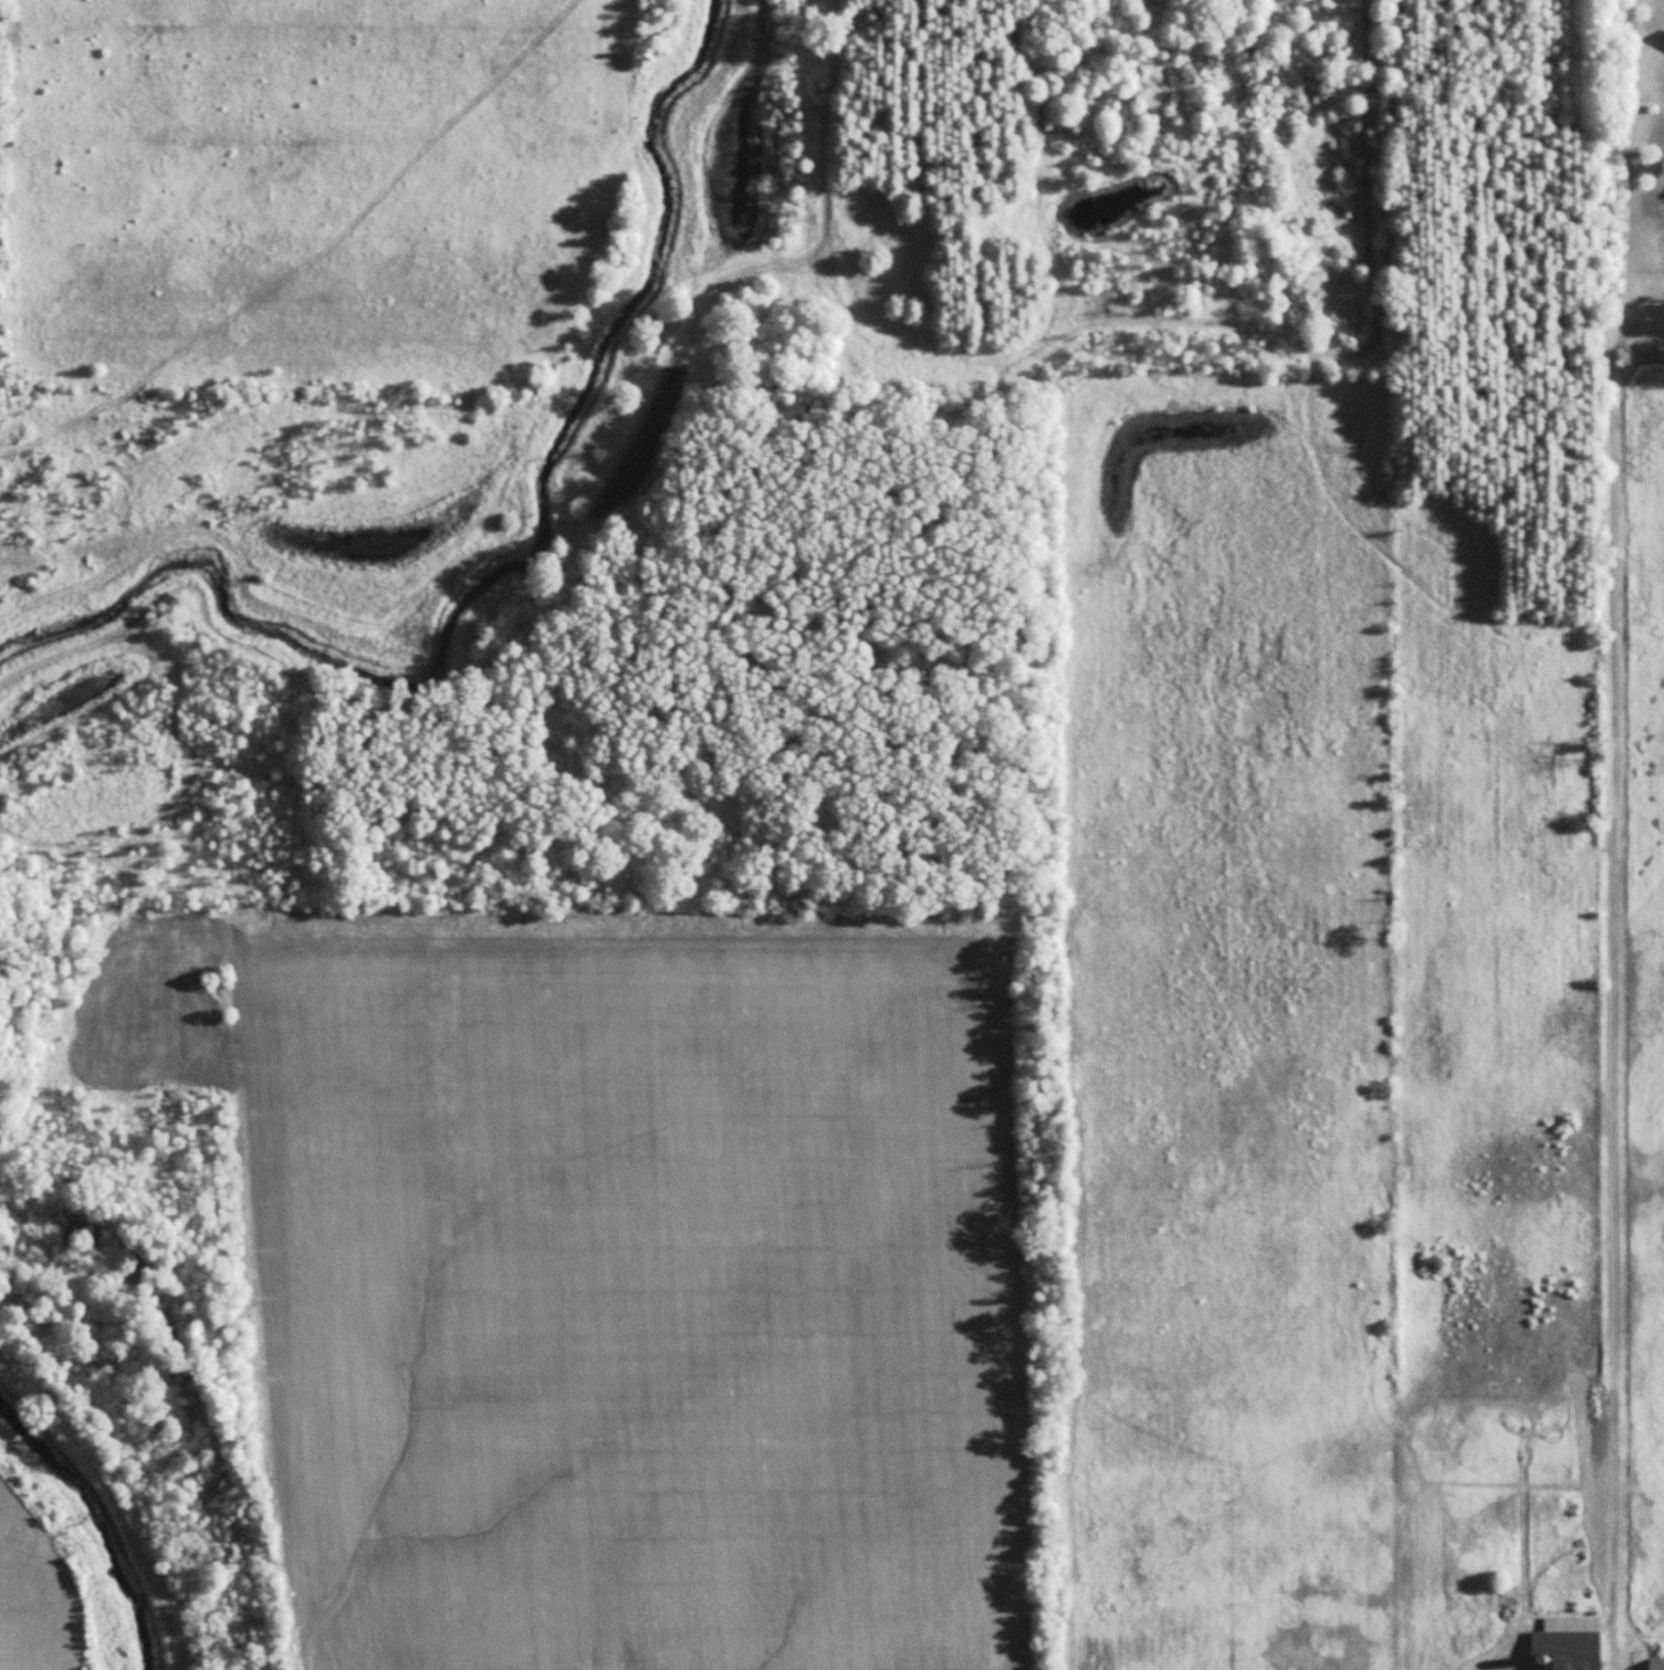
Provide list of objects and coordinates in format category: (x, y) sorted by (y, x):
road: (1611, 1640)
building: (1569, 1643)
building: (1656, 1663)

